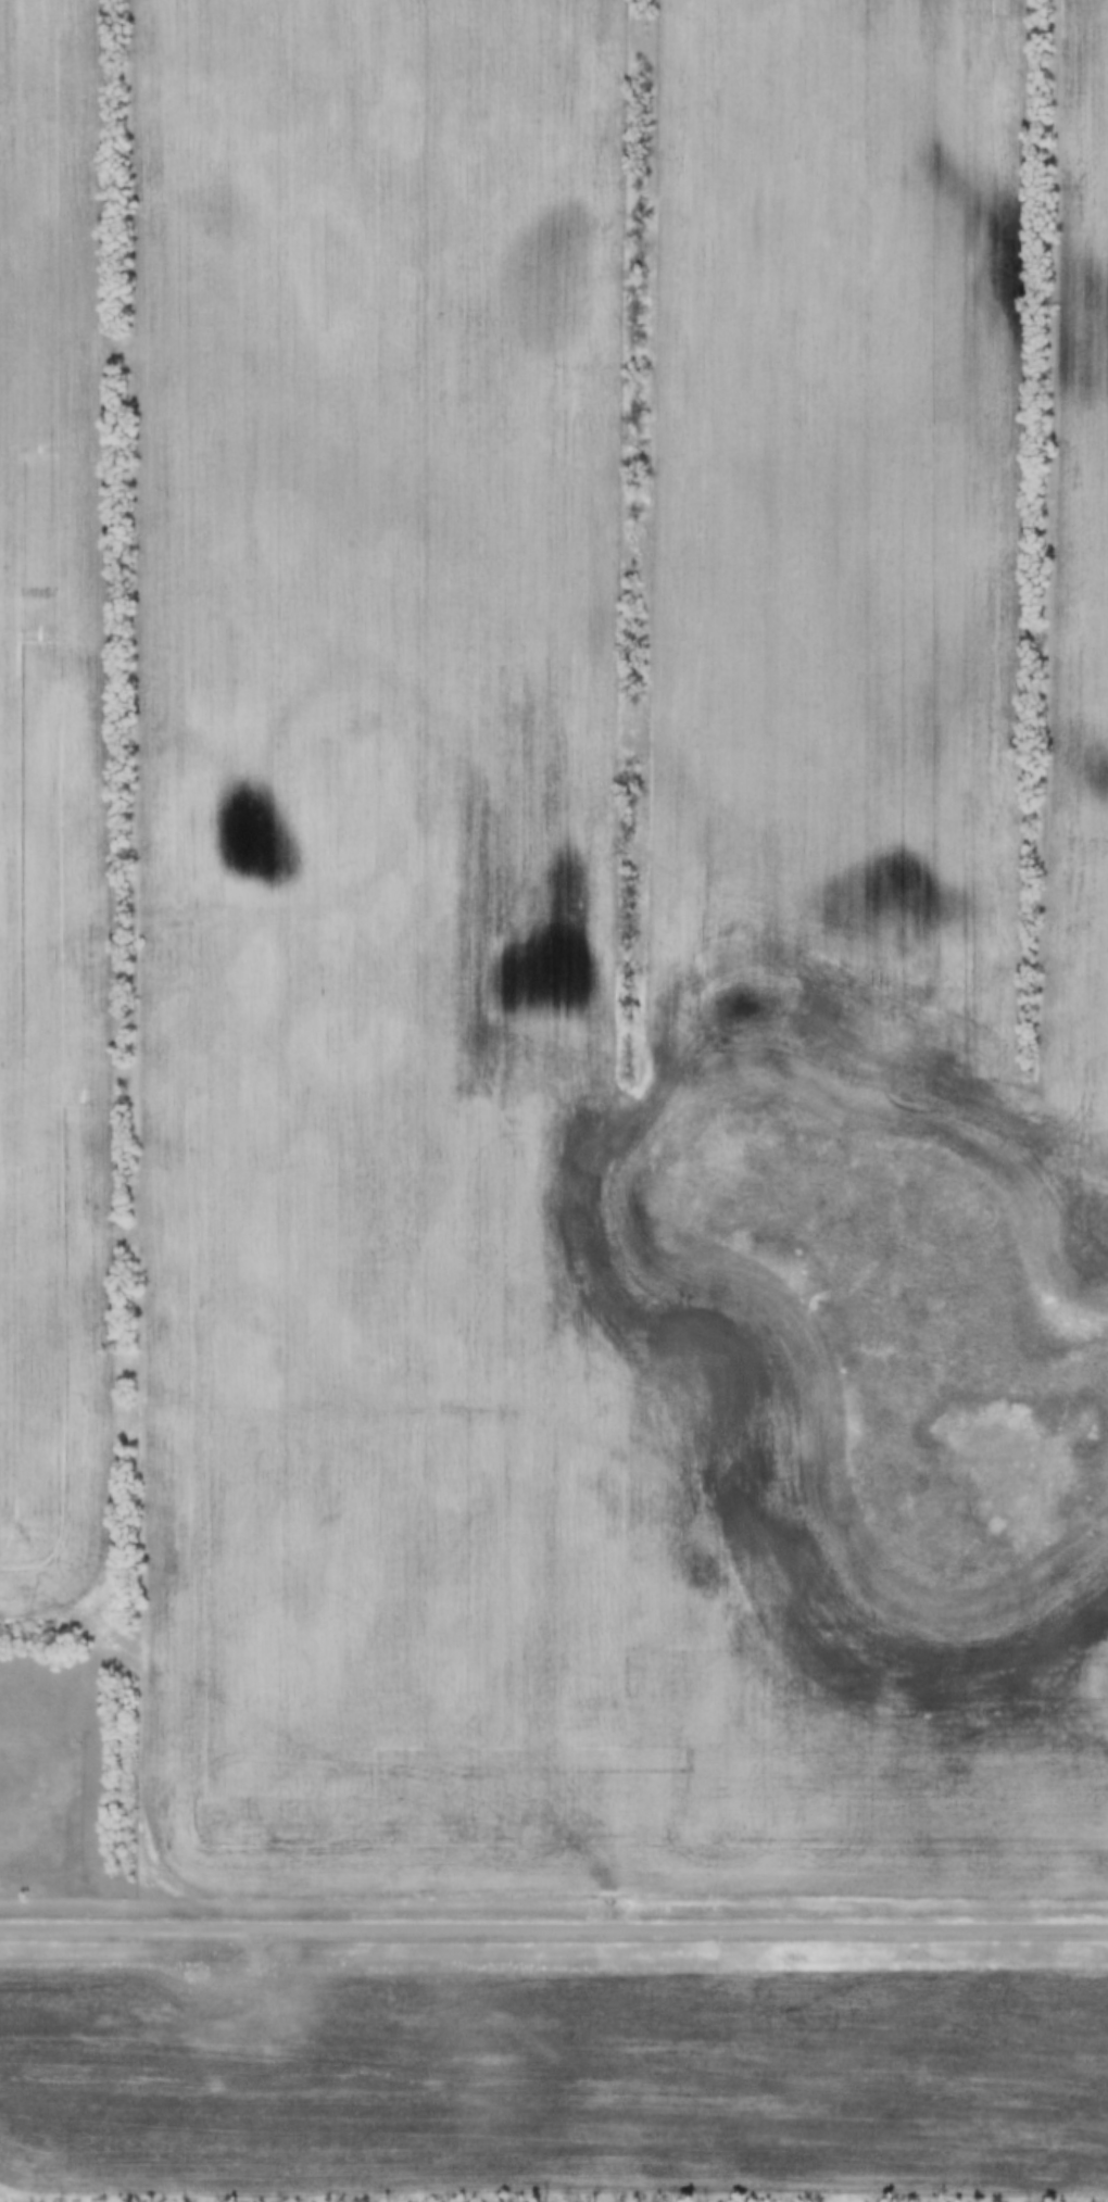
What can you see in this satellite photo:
road: (553, 1925)

